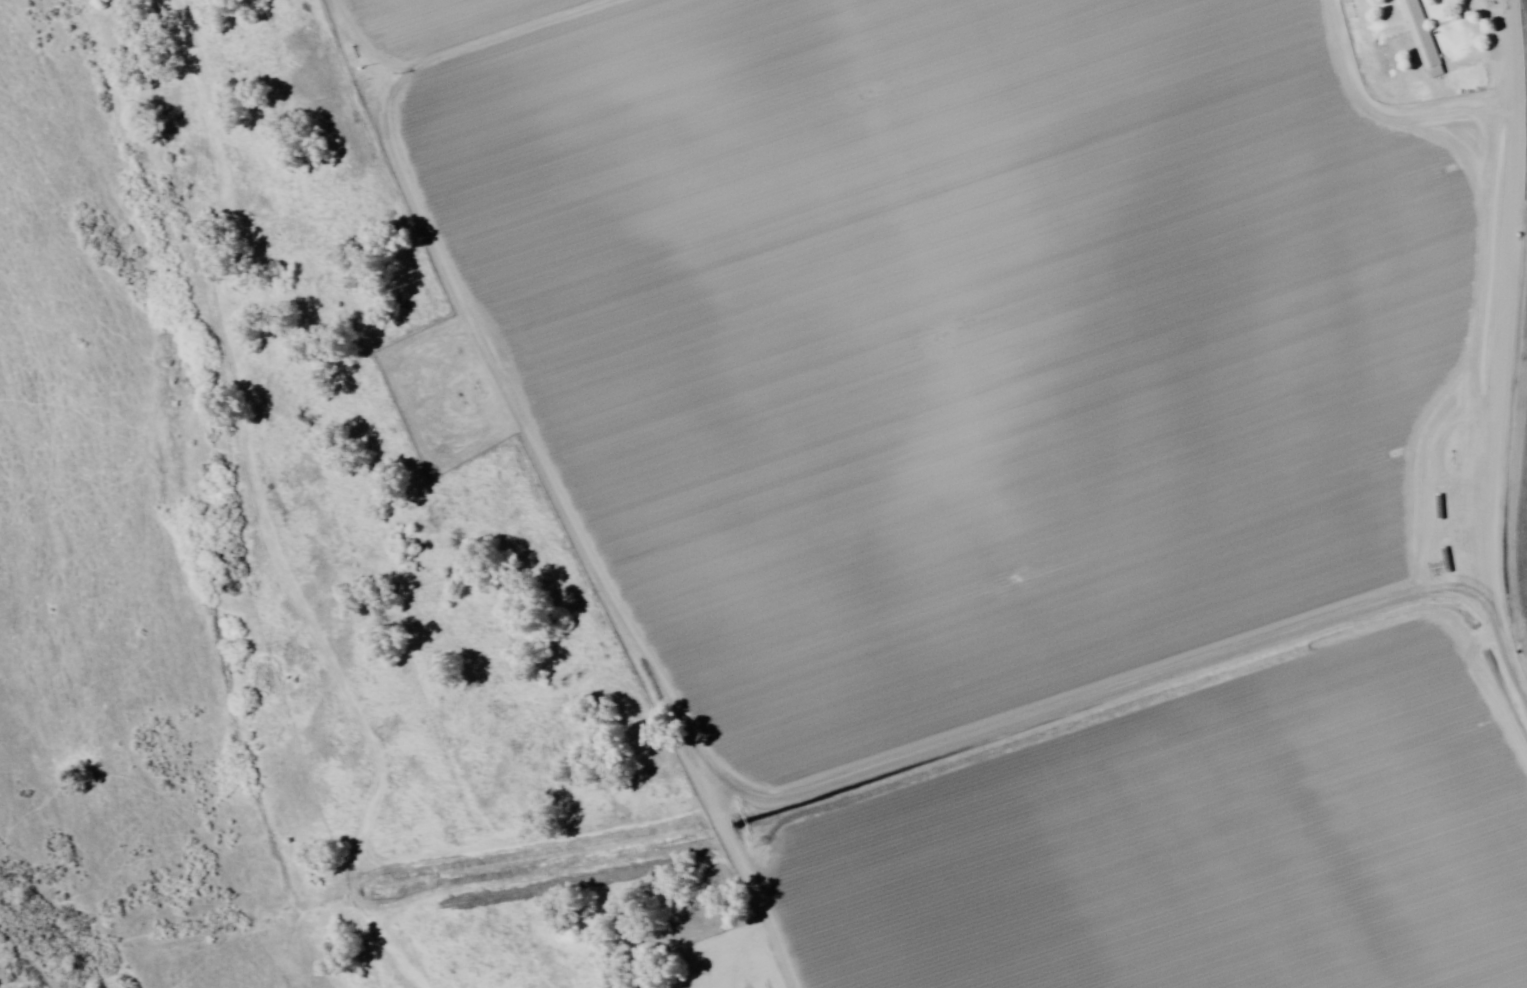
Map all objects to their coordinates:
building: (1416, 37)
road: (1497, 48)
road: (472, 60)
road: (1474, 305)
crop: (1030, 448)
road: (1504, 670)
road: (135, 733)
building: (728, 939)

